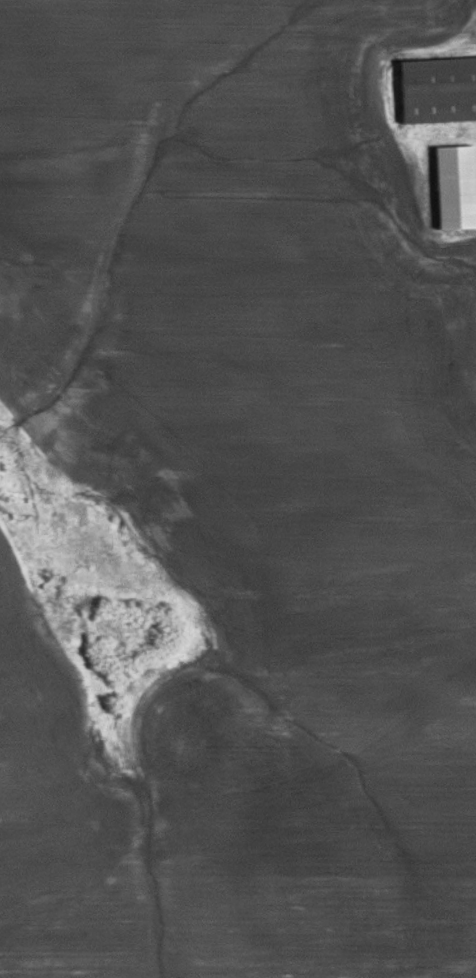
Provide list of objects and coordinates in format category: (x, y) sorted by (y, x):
building: (436, 90)
building: (454, 188)

